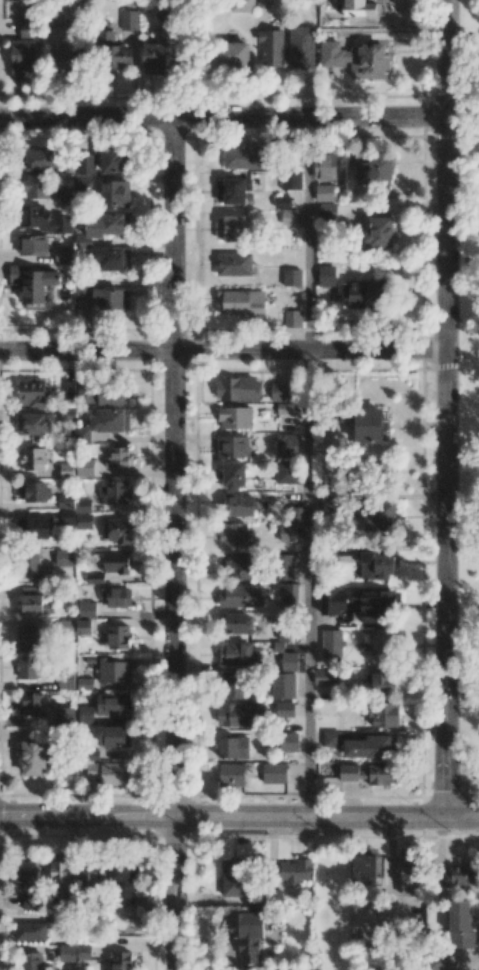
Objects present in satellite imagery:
building: (262, 3)
building: (241, 5)
building: (160, 9)
building: (128, 20)
building: (26, 26)
road: (462, 45)
building: (301, 47)
building: (271, 48)
building: (113, 51)
building: (232, 54)
building: (65, 55)
building: (21, 57)
building: (154, 58)
building: (355, 58)
road: (222, 118)
road: (452, 135)
road: (468, 135)
building: (245, 157)
building: (38, 159)
building: (111, 160)
building: (85, 163)
building: (325, 166)
building: (377, 169)
building: (291, 179)
building: (82, 182)
building: (33, 185)
building: (235, 190)
building: (324, 192)
building: (115, 193)
building: (66, 196)
building: (282, 202)
building: (328, 211)
building: (289, 216)
building: (43, 219)
building: (102, 227)
building: (232, 227)
building: (378, 232)
road: (308, 234)
building: (32, 245)
building: (63, 253)
building: (110, 258)
building: (233, 264)
building: (326, 275)
building: (292, 277)
building: (32, 282)
building: (384, 291)
building: (358, 293)
building: (100, 294)
building: (240, 301)
building: (292, 318)
road: (223, 349)
building: (237, 389)
building: (282, 391)
building: (32, 393)
building: (85, 394)
building: (112, 395)
building: (284, 408)
road: (446, 408)
park: (462, 408)
building: (235, 417)
building: (109, 420)
building: (33, 424)
building: (369, 425)
building: (83, 435)
building: (232, 446)
building: (286, 446)
building: (118, 457)
building: (32, 458)
building: (85, 467)
building: (66, 470)
building: (287, 473)
building: (234, 475)
building: (31, 491)
building: (114, 492)
building: (65, 501)
building: (328, 501)
building: (238, 504)
building: (83, 505)
building: (379, 515)
building: (75, 519)
building: (34, 527)
building: (116, 531)
building: (287, 532)
building: (233, 536)
road: (173, 543)
building: (64, 558)
building: (115, 562)
building: (29, 564)
building: (375, 565)
building: (239, 567)
building: (284, 567)
building: (94, 578)
road: (307, 582)
building: (288, 593)
building: (241, 596)
building: (116, 597)
building: (34, 601)
building: (333, 601)
building: (373, 605)
building: (86, 609)
building: (236, 623)
building: (66, 627)
building: (84, 627)
building: (286, 636)
building: (118, 637)
building: (26, 638)
building: (332, 642)
building: (383, 646)
building: (239, 654)
building: (288, 661)
building: (28, 667)
building: (113, 671)
building: (326, 677)
building: (65, 680)
building: (382, 682)
building: (84, 683)
building: (233, 685)
building: (283, 685)
building: (31, 704)
building: (104, 707)
building: (281, 709)
building: (238, 714)
building: (383, 715)
building: (63, 716)
building: (113, 736)
building: (331, 738)
building: (288, 742)
building: (233, 747)
building: (368, 747)
building: (32, 757)
building: (351, 772)
building: (106, 773)
building: (274, 773)
building: (382, 774)
building: (231, 775)
road: (456, 796)
road: (472, 796)
road: (465, 806)
road: (239, 814)
building: (363, 869)
building: (59, 871)
building: (293, 871)
building: (87, 872)
building: (26, 874)
building: (409, 874)
building: (459, 875)
building: (233, 878)
building: (123, 883)
building: (31, 901)
building: (460, 924)
building: (30, 931)
building: (246, 933)
building: (66, 952)
building: (83, 952)
building: (120, 960)
building: (31, 961)
building: (438, 962)

